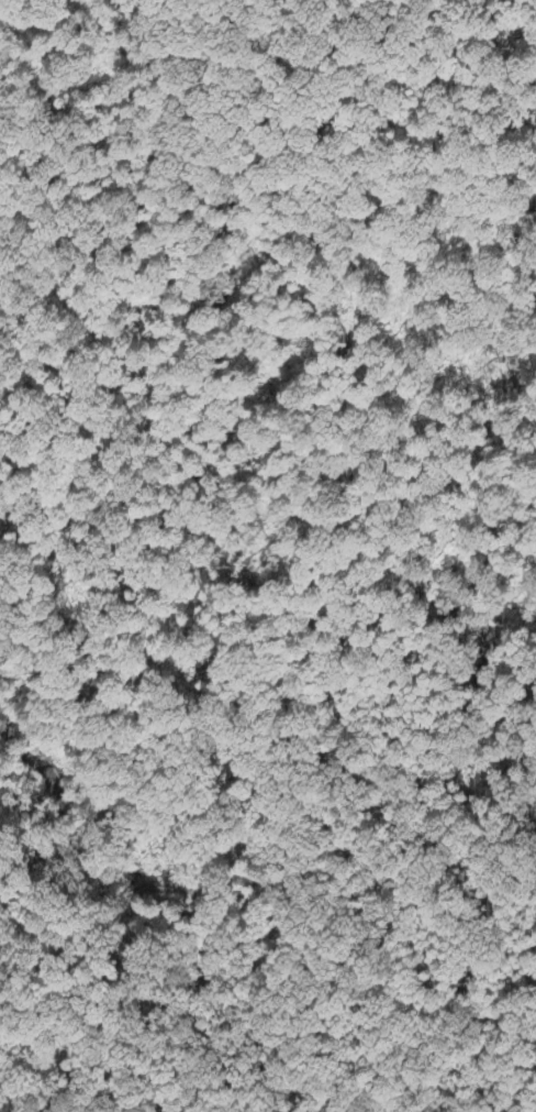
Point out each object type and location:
park: (211, 1024)

